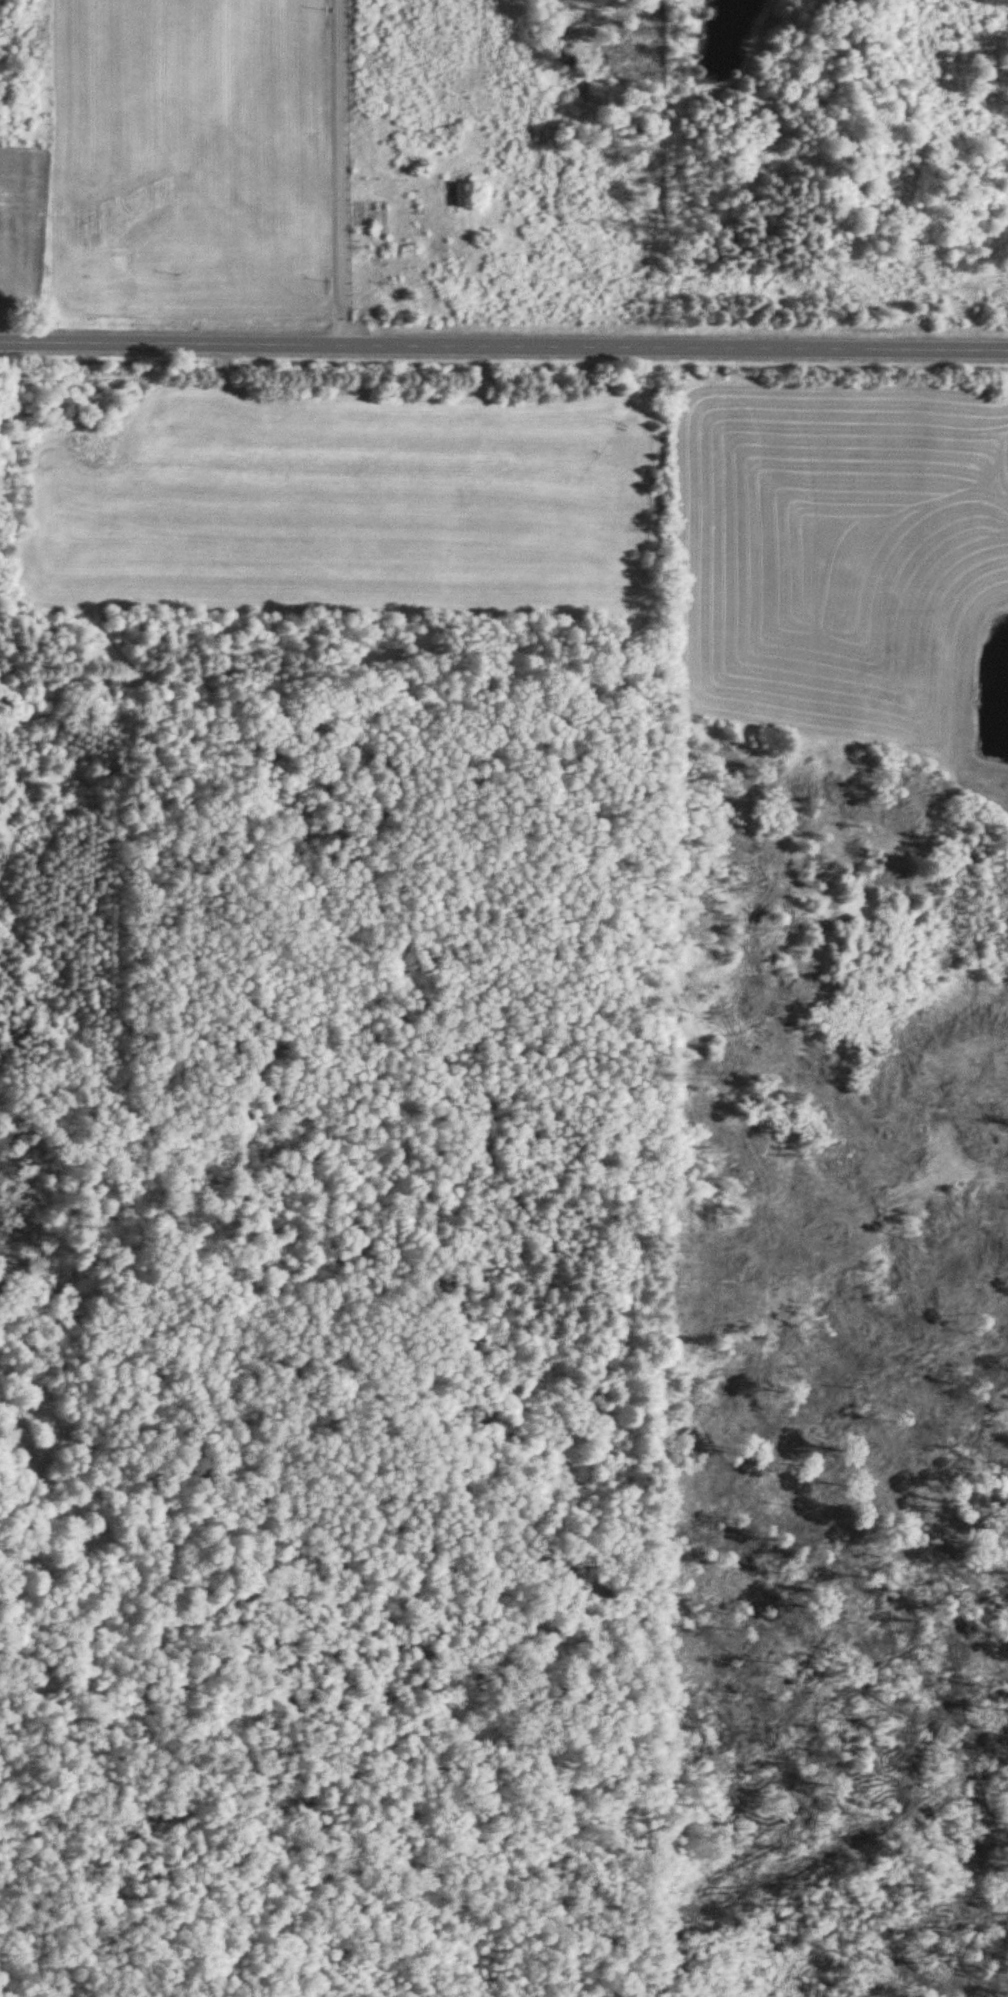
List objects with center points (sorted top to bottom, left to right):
road: (322, 172)
building: (458, 194)
road: (504, 344)

